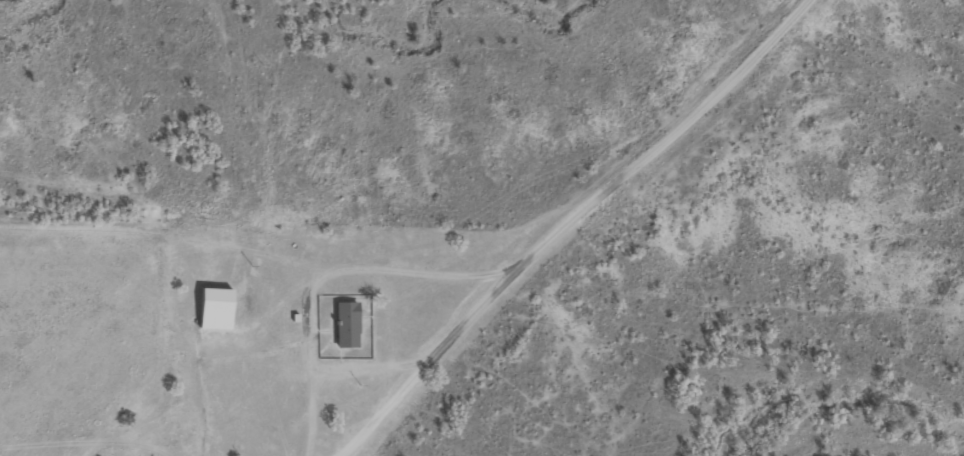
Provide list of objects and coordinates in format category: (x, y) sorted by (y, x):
road: (714, 104)
building: (219, 310)
road: (482, 319)
building: (350, 326)

